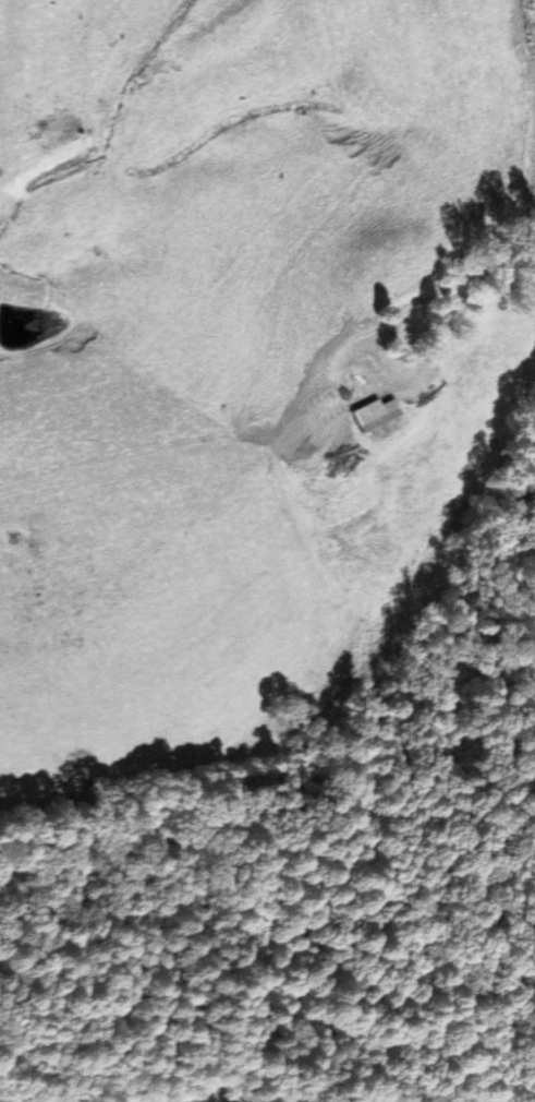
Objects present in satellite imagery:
road: (425, 297)
building: (368, 412)

